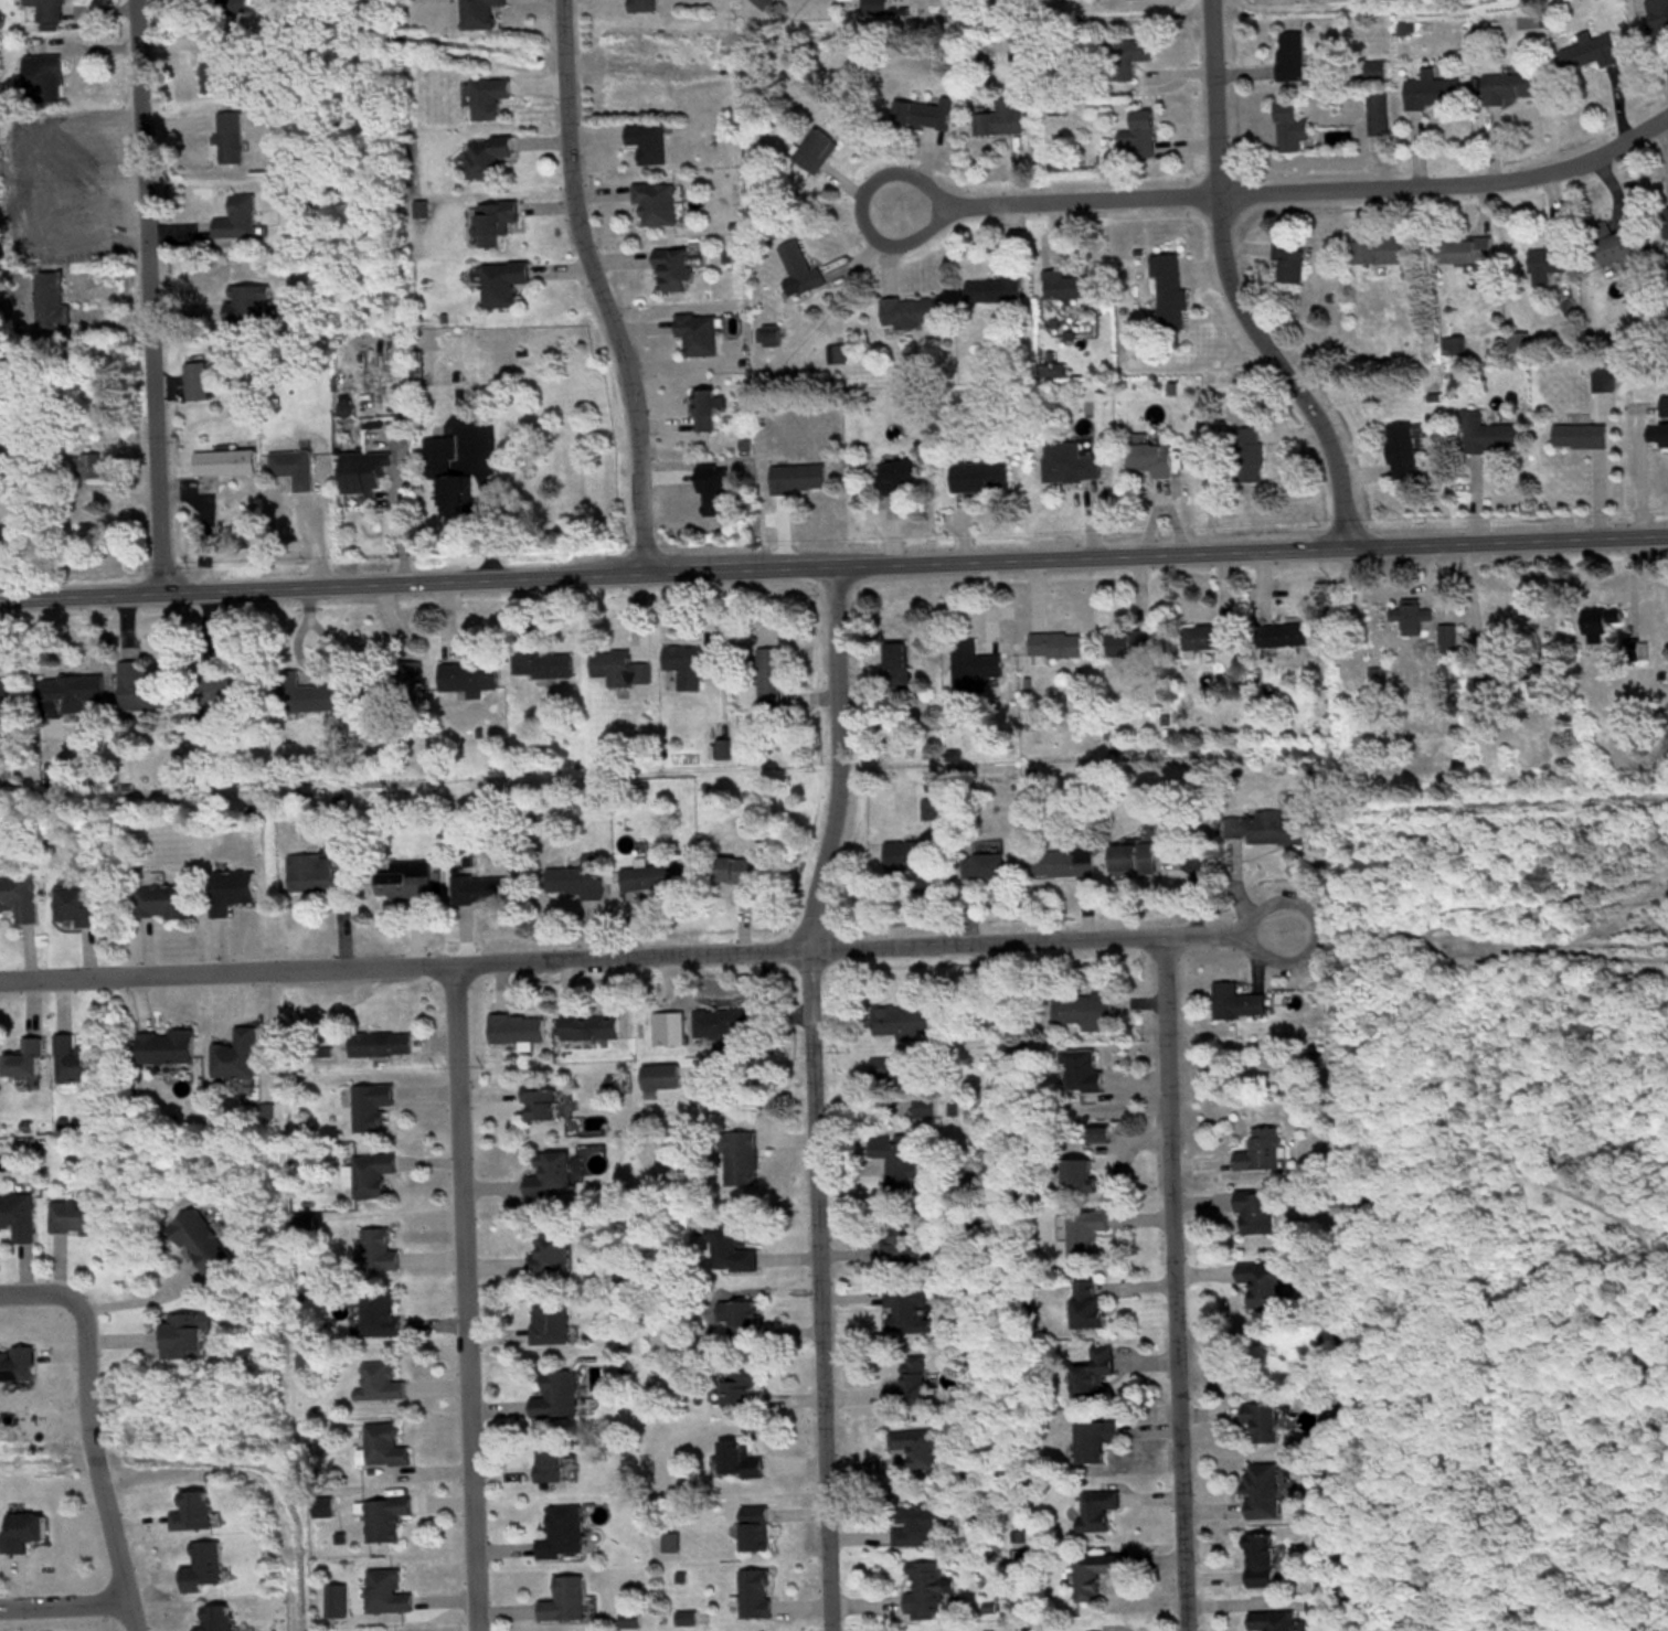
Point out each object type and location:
building: (762, 2)
building: (641, 4)
building: (229, 6)
building: (874, 7)
building: (45, 9)
building: (477, 13)
building: (1658, 17)
building: (1590, 51)
building: (1289, 54)
building: (1126, 55)
building: (1374, 71)
building: (41, 73)
building: (211, 73)
building: (1509, 85)
building: (1432, 89)
building: (487, 96)
building: (1378, 110)
building: (924, 111)
building: (1000, 117)
building: (1289, 126)
building: (1138, 132)
building: (227, 135)
building: (647, 141)
building: (814, 150)
building: (486, 156)
road: (1286, 192)
building: (655, 202)
building: (302, 203)
building: (235, 216)
building: (1666, 221)
building: (491, 222)
building: (1614, 244)
building: (1466, 249)
building: (1381, 250)
building: (1549, 255)
building: (1289, 260)
building: (799, 267)
building: (671, 269)
building: (501, 281)
building: (1067, 284)
road: (1231, 285)
road: (597, 287)
building: (994, 288)
building: (1168, 291)
road: (145, 295)
building: (50, 299)
building: (244, 302)
building: (909, 310)
building: (697, 332)
building: (1518, 341)
building: (194, 380)
building: (1664, 404)
building: (704, 408)
building: (1487, 433)
building: (1579, 434)
building: (1657, 434)
road: (1298, 440)
building: (1400, 449)
building: (222, 461)
building: (88, 465)
building: (1250, 465)
building: (291, 466)
building: (362, 469)
building: (1154, 470)
building: (444, 472)
building: (897, 473)
building: (1069, 473)
building: (796, 477)
building: (978, 486)
building: (7, 501)
road: (487, 505)
road: (405, 512)
road: (1088, 532)
road: (833, 564)
building: (1409, 616)
building: (1597, 621)
building: (1285, 633)
building: (1207, 636)
building: (1446, 637)
building: (1129, 643)
building: (1052, 646)
building: (689, 662)
building: (541, 663)
building: (894, 663)
building: (970, 664)
building: (618, 667)
building: (466, 676)
building: (768, 678)
building: (1538, 680)
building: (393, 683)
building: (139, 687)
building: (225, 687)
building: (72, 691)
building: (4, 692)
building: (302, 693)
building: (1488, 700)
building: (54, 774)
building: (929, 810)
building: (1262, 828)
building: (913, 859)
building: (1132, 859)
building: (1062, 861)
building: (982, 865)
building: (731, 870)
building: (315, 874)
building: (649, 876)
building: (577, 878)
building: (404, 880)
building: (478, 888)
building: (230, 889)
building: (18, 897)
building: (161, 900)
building: (74, 904)
road: (639, 958)
building: (1235, 1000)
building: (1087, 1009)
building: (911, 1019)
building: (724, 1022)
building: (588, 1024)
building: (514, 1027)
building: (379, 1042)
building: (163, 1045)
building: (234, 1054)
building: (24, 1058)
building: (75, 1058)
building: (1080, 1069)
building: (659, 1075)
road: (812, 1096)
building: (539, 1101)
building: (370, 1105)
building: (899, 1106)
building: (1097, 1133)
building: (1260, 1149)
building: (736, 1156)
building: (895, 1162)
building: (1076, 1172)
building: (371, 1173)
building: (546, 1175)
building: (1254, 1211)
building: (18, 1214)
building: (75, 1216)
building: (1085, 1229)
building: (199, 1239)
building: (901, 1239)
building: (729, 1248)
building: (378, 1249)
building: (549, 1254)
building: (1264, 1280)
road: (1171, 1284)
road: (139, 1294)
road: (36, 1296)
road: (466, 1299)
building: (1086, 1301)
building: (906, 1307)
building: (380, 1311)
building: (741, 1318)
building: (549, 1321)
building: (182, 1332)
building: (17, 1362)
building: (1093, 1371)
building: (378, 1381)
building: (909, 1382)
building: (741, 1390)
building: (555, 1393)
road: (95, 1414)
building: (1261, 1419)
building: (1093, 1439)
building: (383, 1445)
building: (915, 1446)
building: (737, 1459)
building: (549, 1463)
building: (1261, 1490)
building: (1095, 1509)
building: (191, 1510)
building: (383, 1517)
building: (914, 1523)
building: (754, 1527)
building: (20, 1529)
building: (562, 1532)
building: (1258, 1559)
building: (202, 1566)
building: (1093, 1571)
road: (125, 1582)
building: (924, 1587)
building: (384, 1590)
building: (754, 1591)
road: (64, 1596)
building: (564, 1598)
building: (334, 1599)
building: (214, 1618)
building: (1272, 1620)

